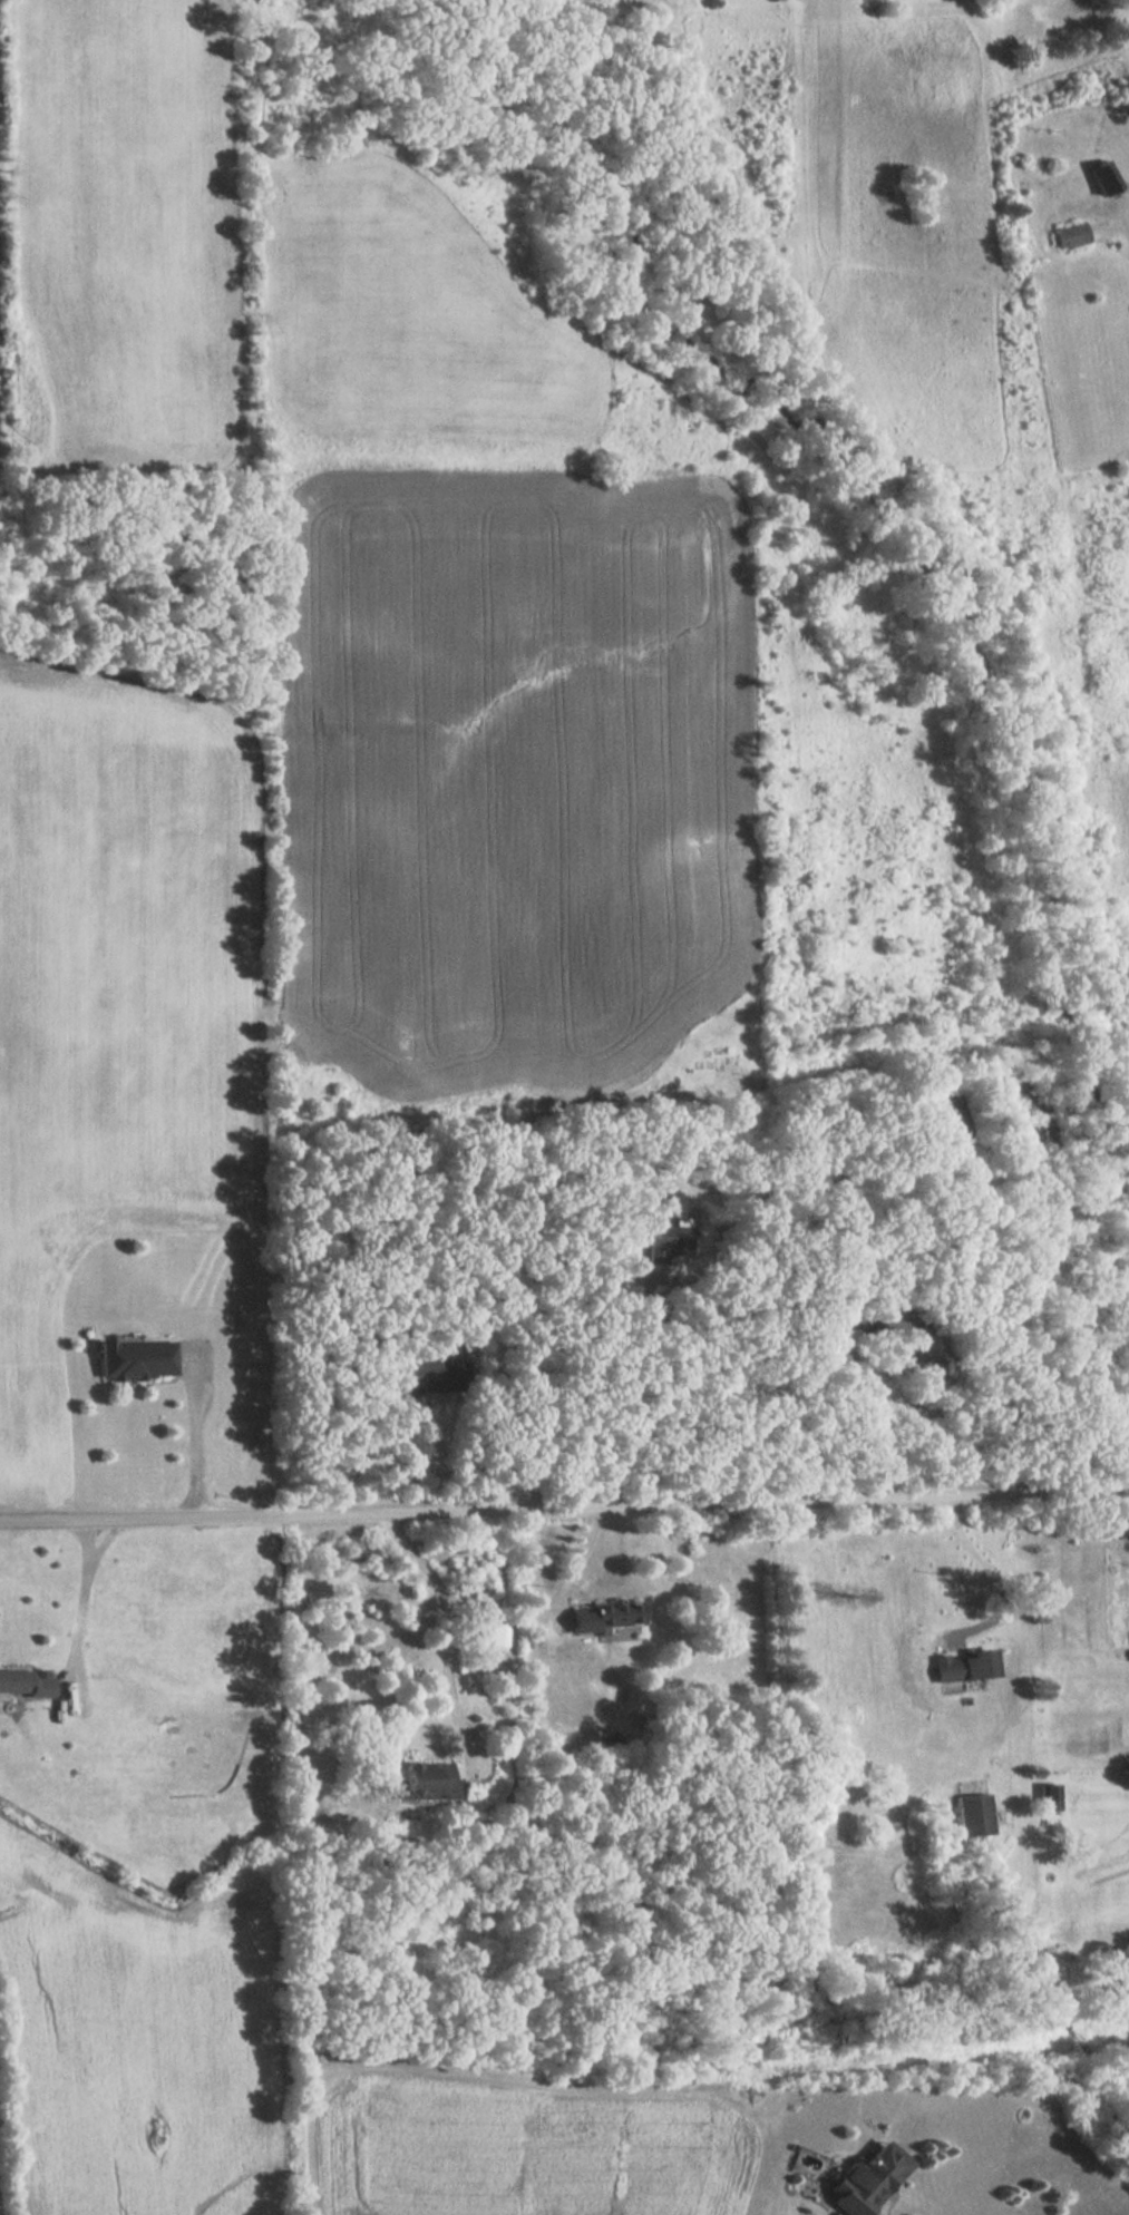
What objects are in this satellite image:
building: (1102, 176)
road: (1119, 219)
road: (1108, 225)
building: (1072, 233)
building: (953, 1125)
building: (912, 1343)
building: (138, 1358)
road: (636, 1393)
road: (866, 1397)
road: (904, 1411)
road: (194, 1437)
road: (412, 1463)
road: (564, 1506)
road: (84, 1538)
road: (105, 1538)
road: (574, 1567)
road: (997, 1582)
road: (546, 1603)
building: (605, 1617)
road: (78, 1622)
road: (445, 1628)
building: (494, 1630)
building: (966, 1666)
building: (23, 1682)
building: (428, 1777)
building: (1051, 1796)
building: (976, 1814)
building: (869, 2182)

